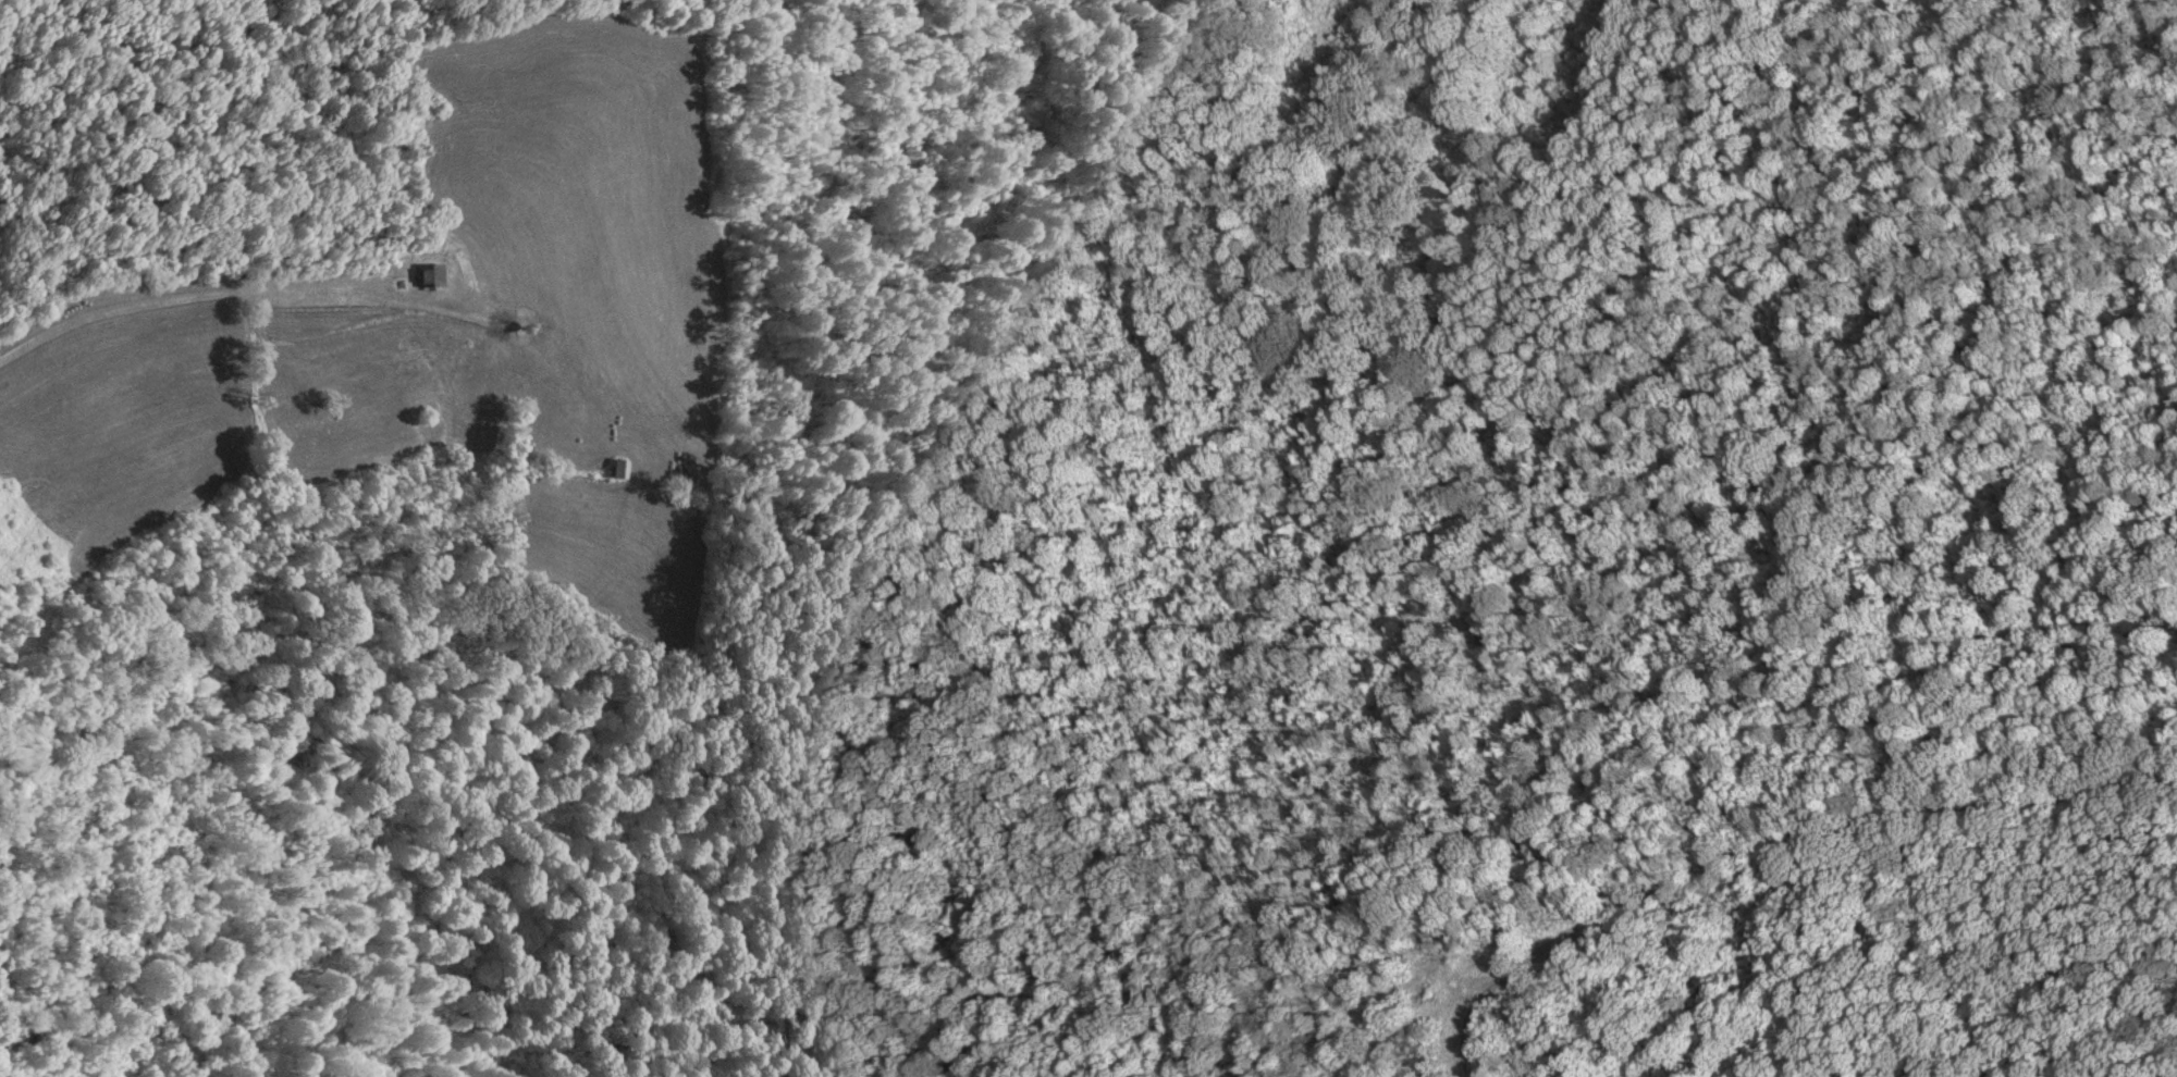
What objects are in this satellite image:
building: (434, 276)
road: (1727, 846)
road: (1496, 980)

